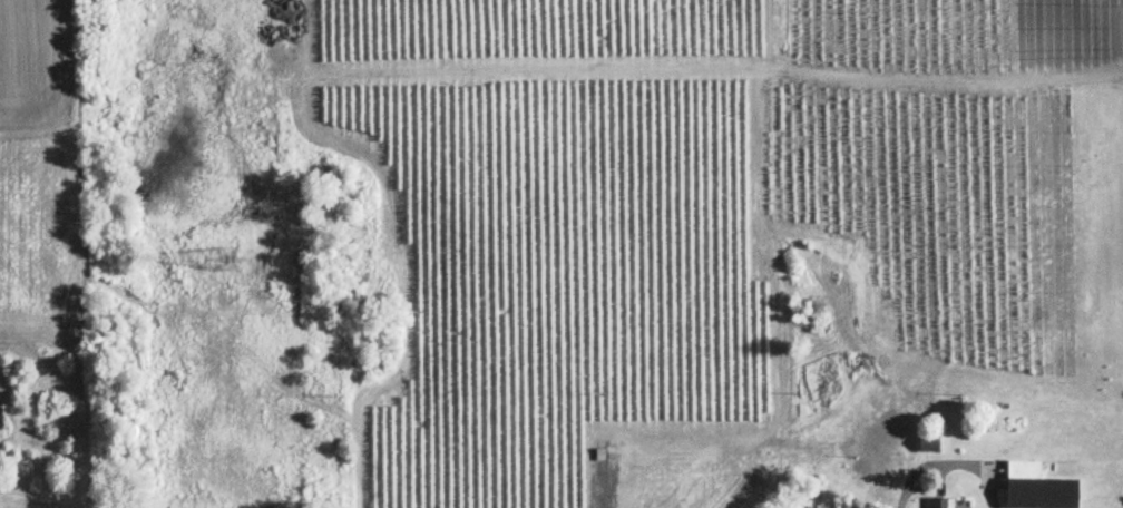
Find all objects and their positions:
power tower: (211, 250)
building: (929, 444)
road: (953, 461)
building: (1036, 488)
building: (939, 504)

